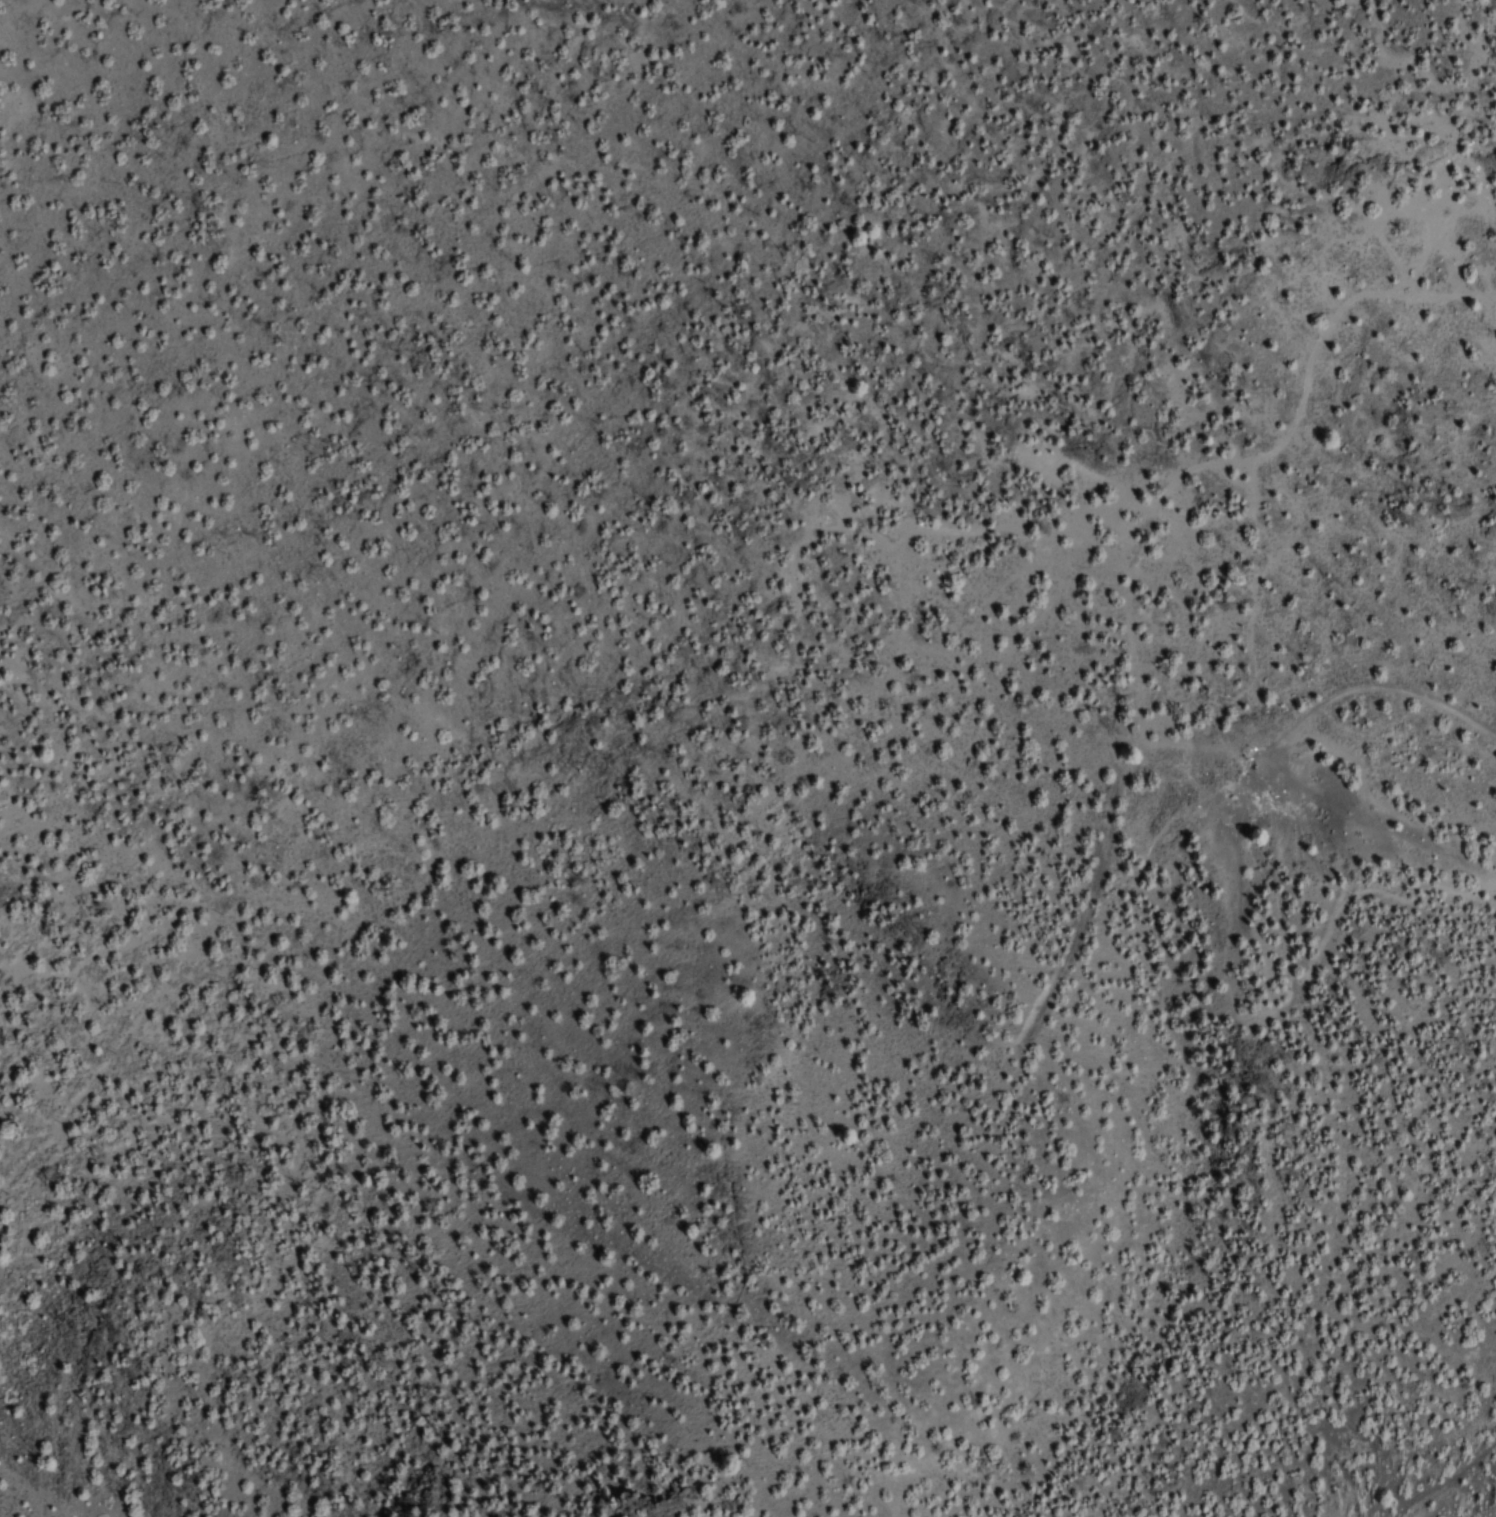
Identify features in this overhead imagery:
road: (1392, 686)
quarry: (1436, 1496)

